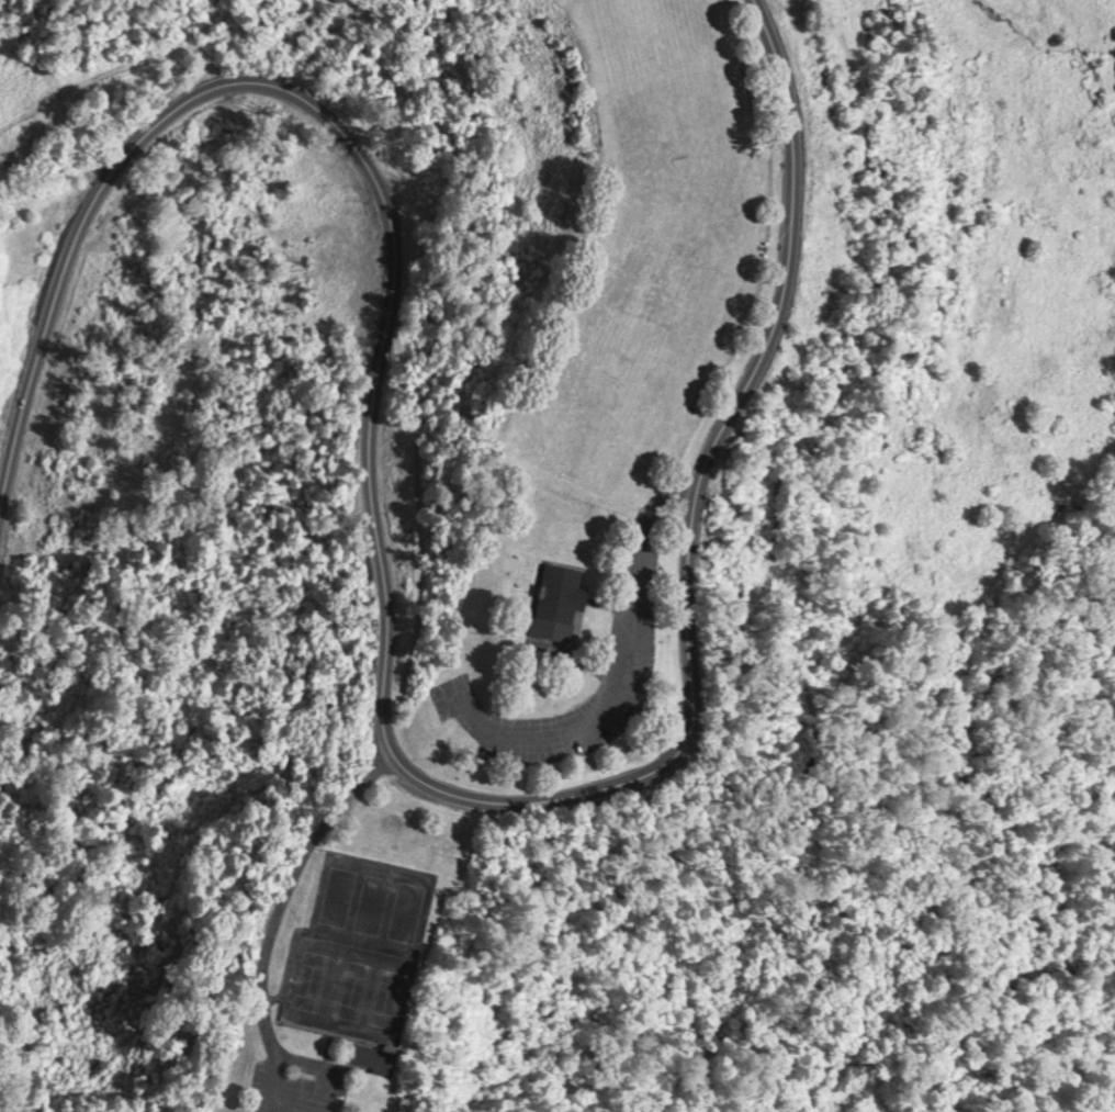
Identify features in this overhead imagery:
park: (664, 81)
park: (607, 385)
building: (554, 603)
road: (381, 669)
road: (630, 676)
park: (336, 895)
park: (372, 901)
park: (407, 909)
road: (277, 914)
park: (312, 977)
park: (352, 986)
park: (390, 995)
building: (378, 1057)
road: (324, 1069)
road: (301, 1085)

